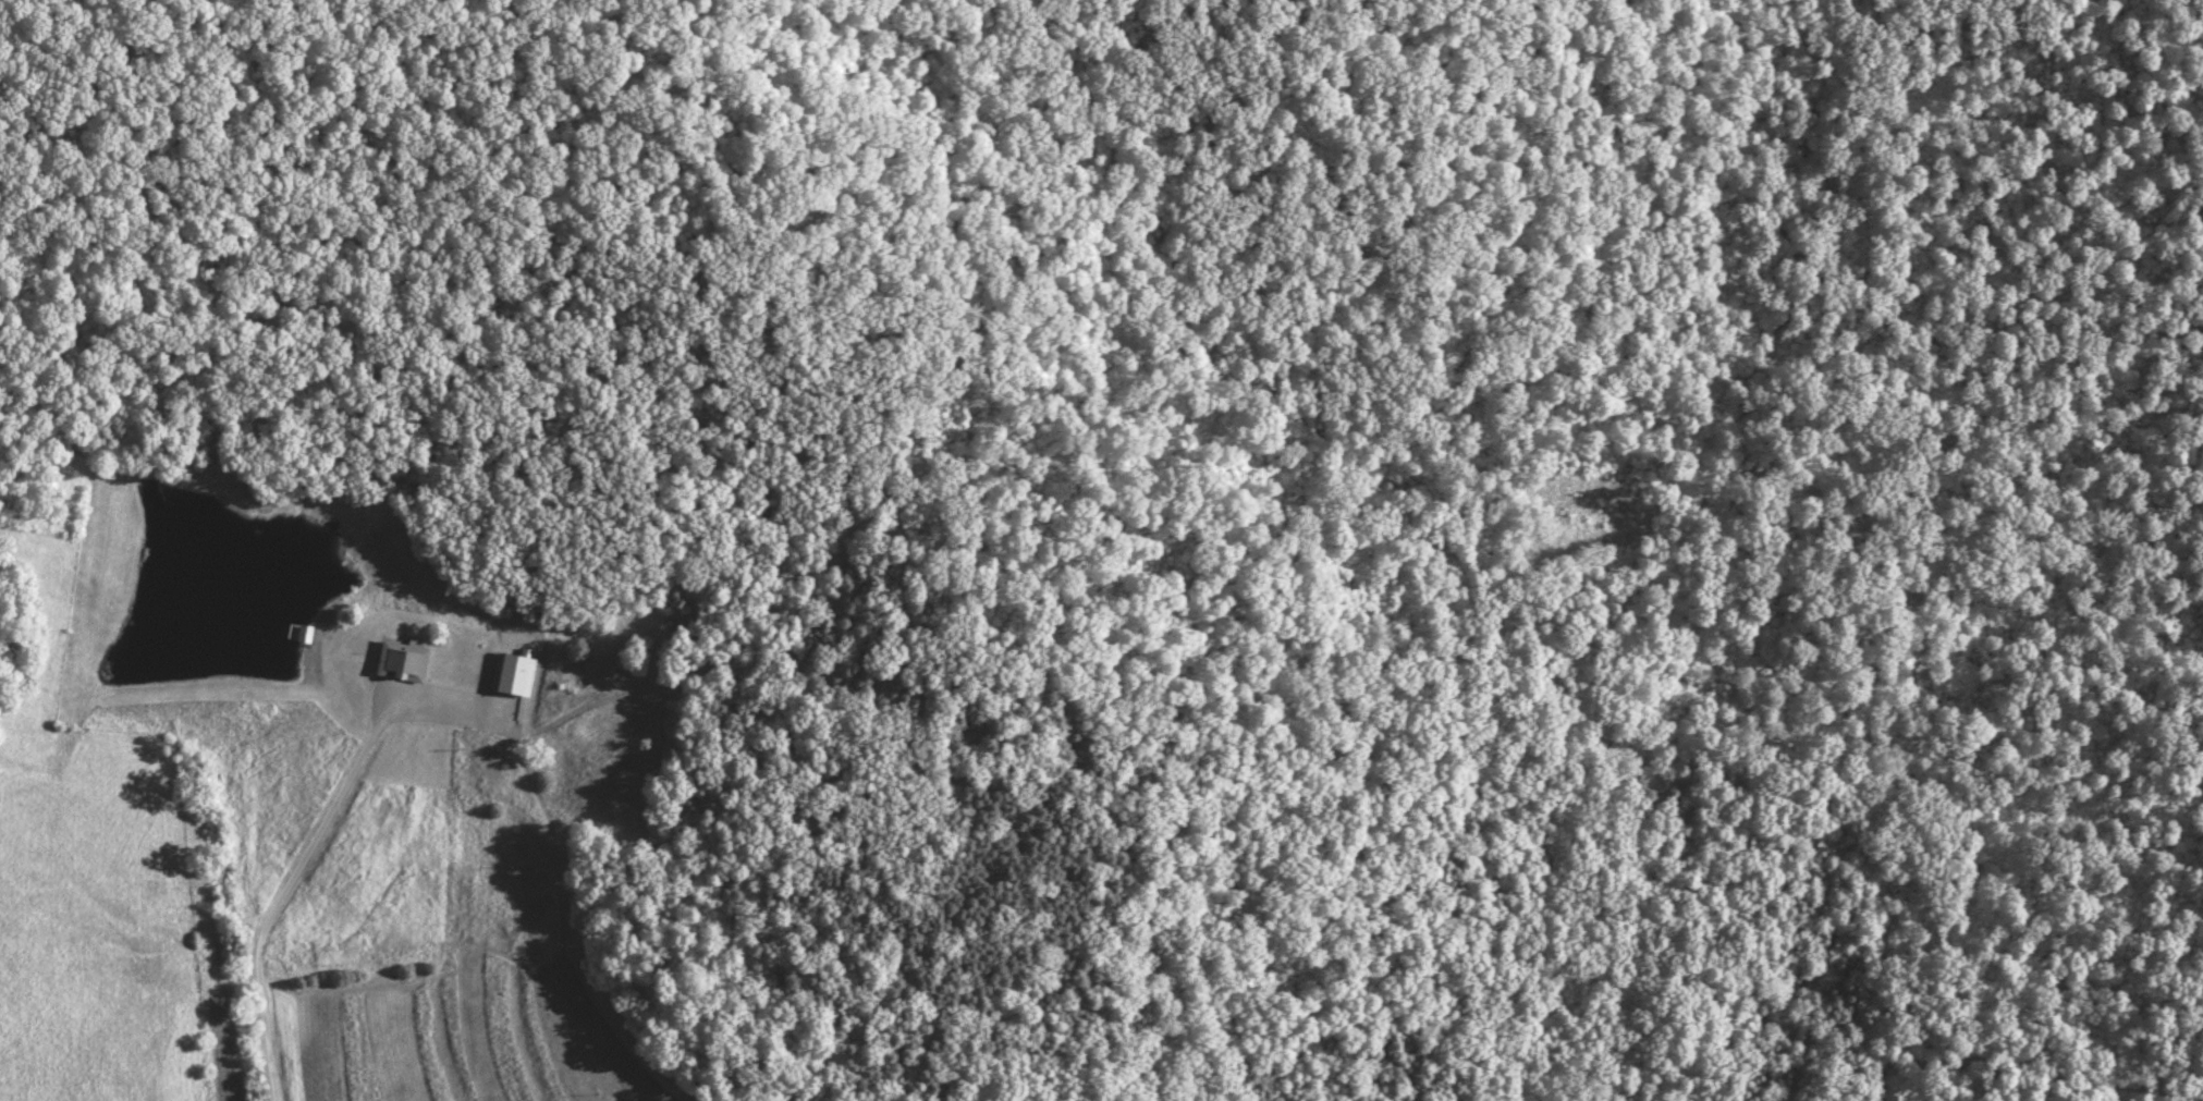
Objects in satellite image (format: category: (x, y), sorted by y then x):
building: (302, 633)
building: (395, 657)
road: (308, 852)

